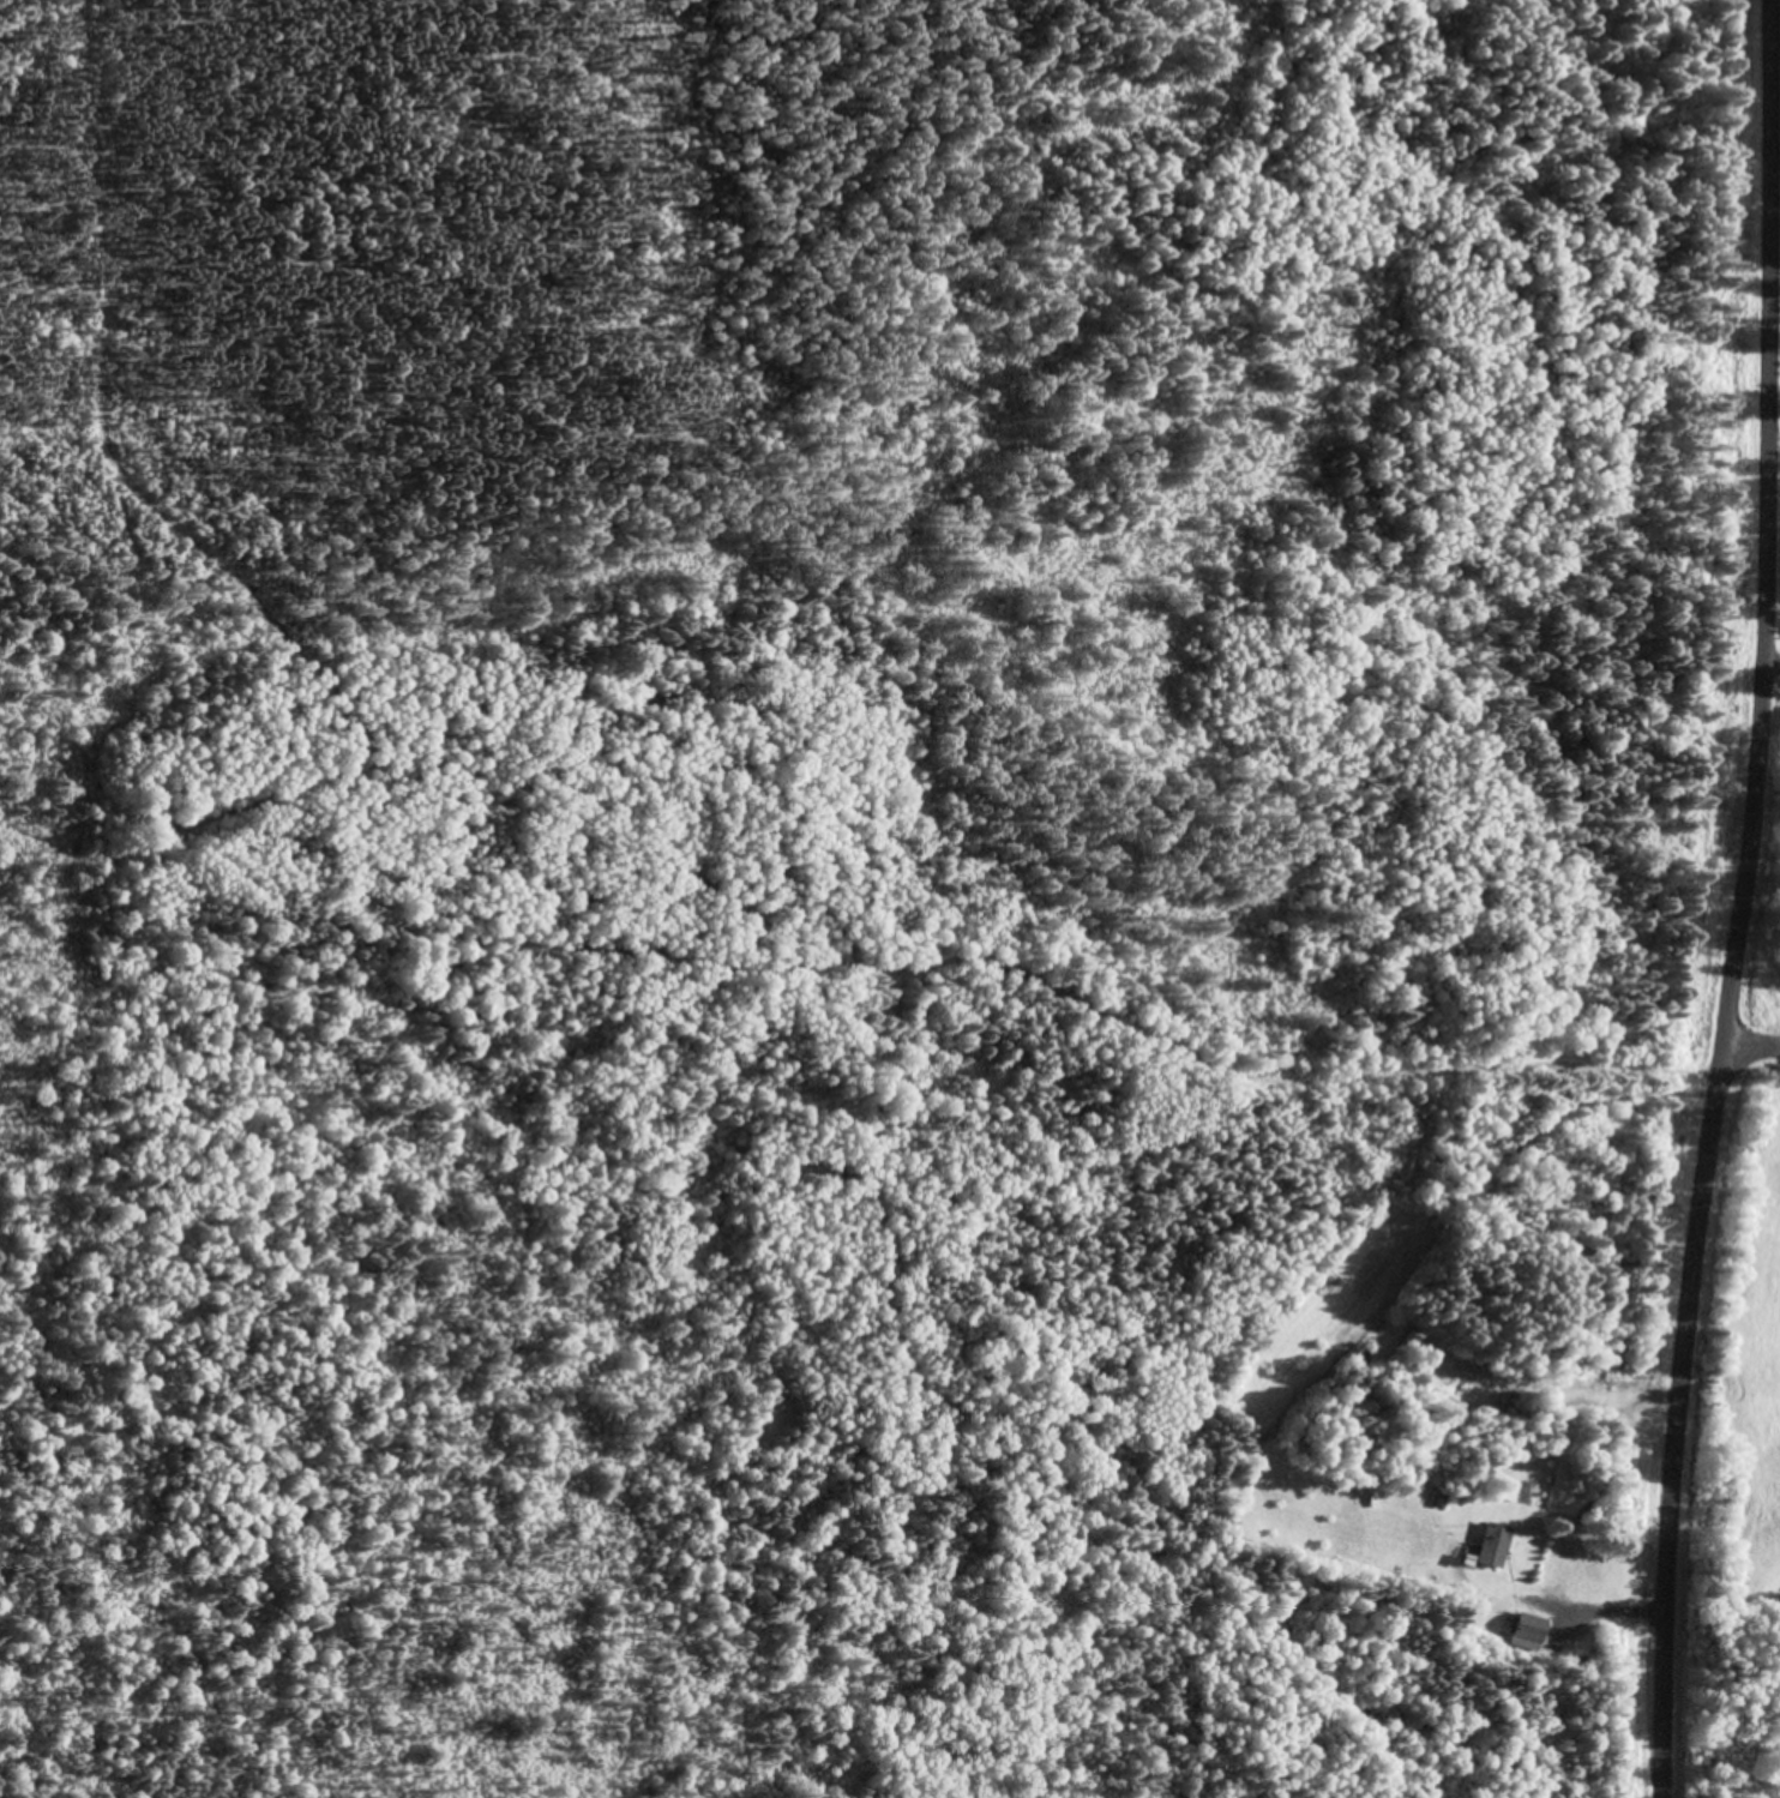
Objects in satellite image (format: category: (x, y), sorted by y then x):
road: (1742, 900)
road: (1750, 1046)
building: (1509, 1491)
building: (1492, 1545)
building: (1529, 1626)

